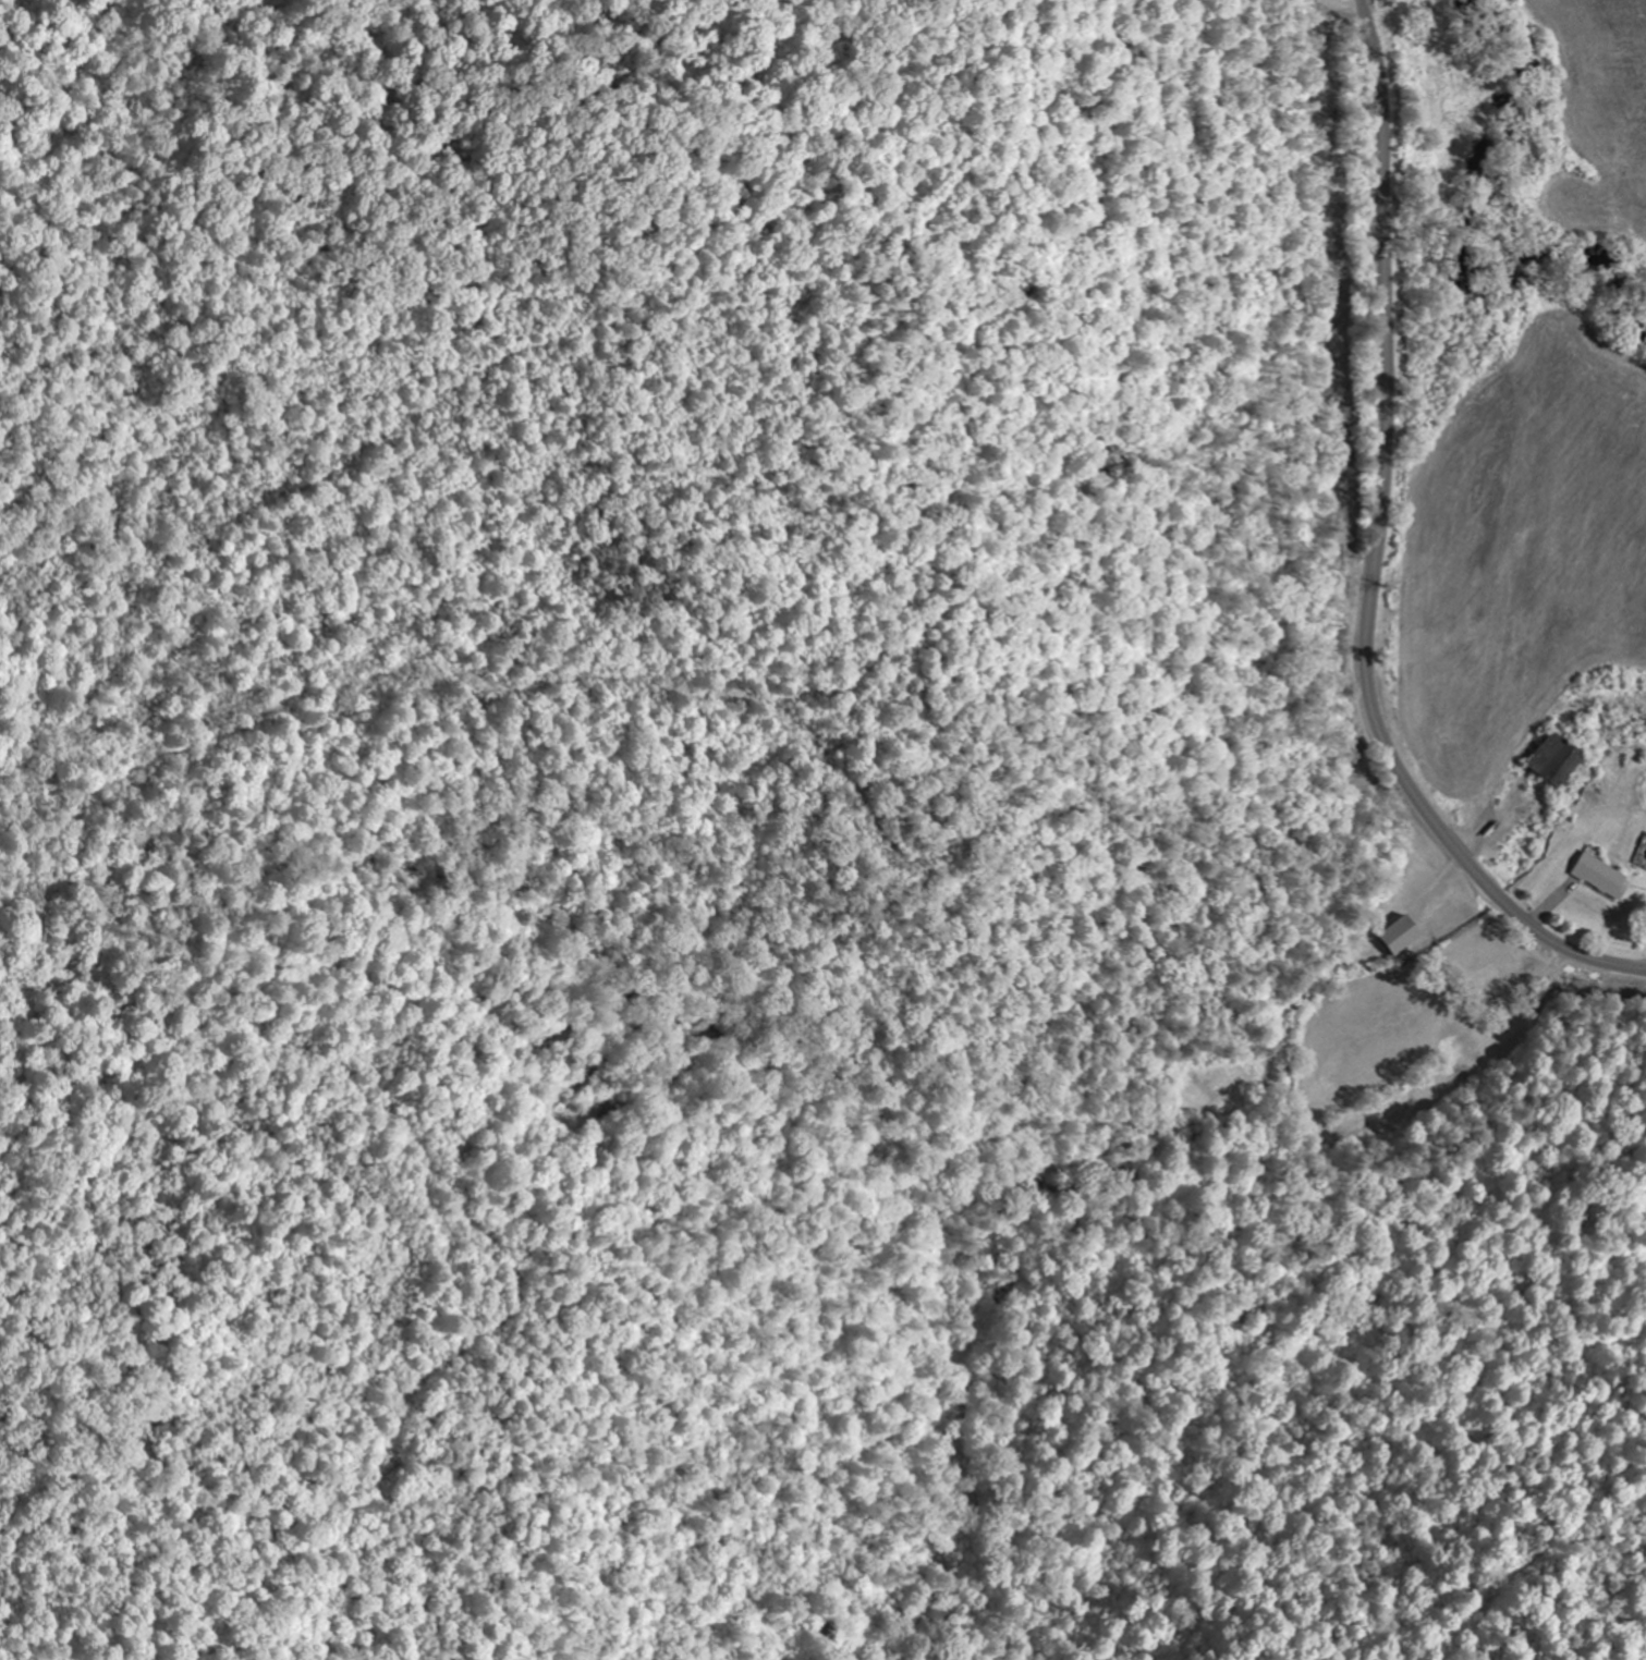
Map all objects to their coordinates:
river: (1462, 237)
road: (1378, 550)
building: (1604, 877)

